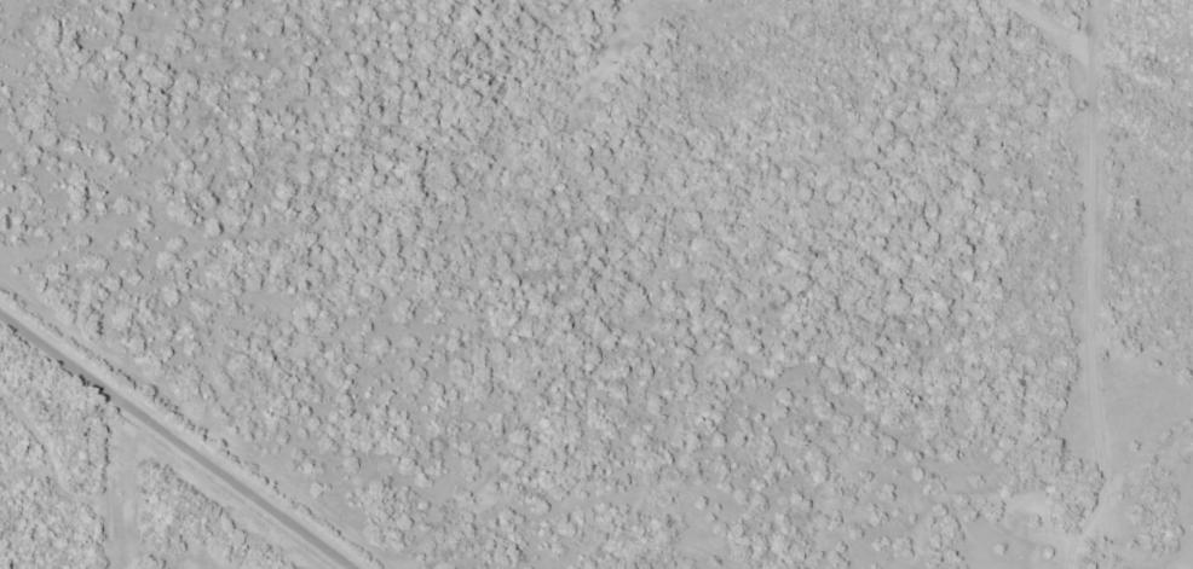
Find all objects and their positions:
road: (175, 442)

